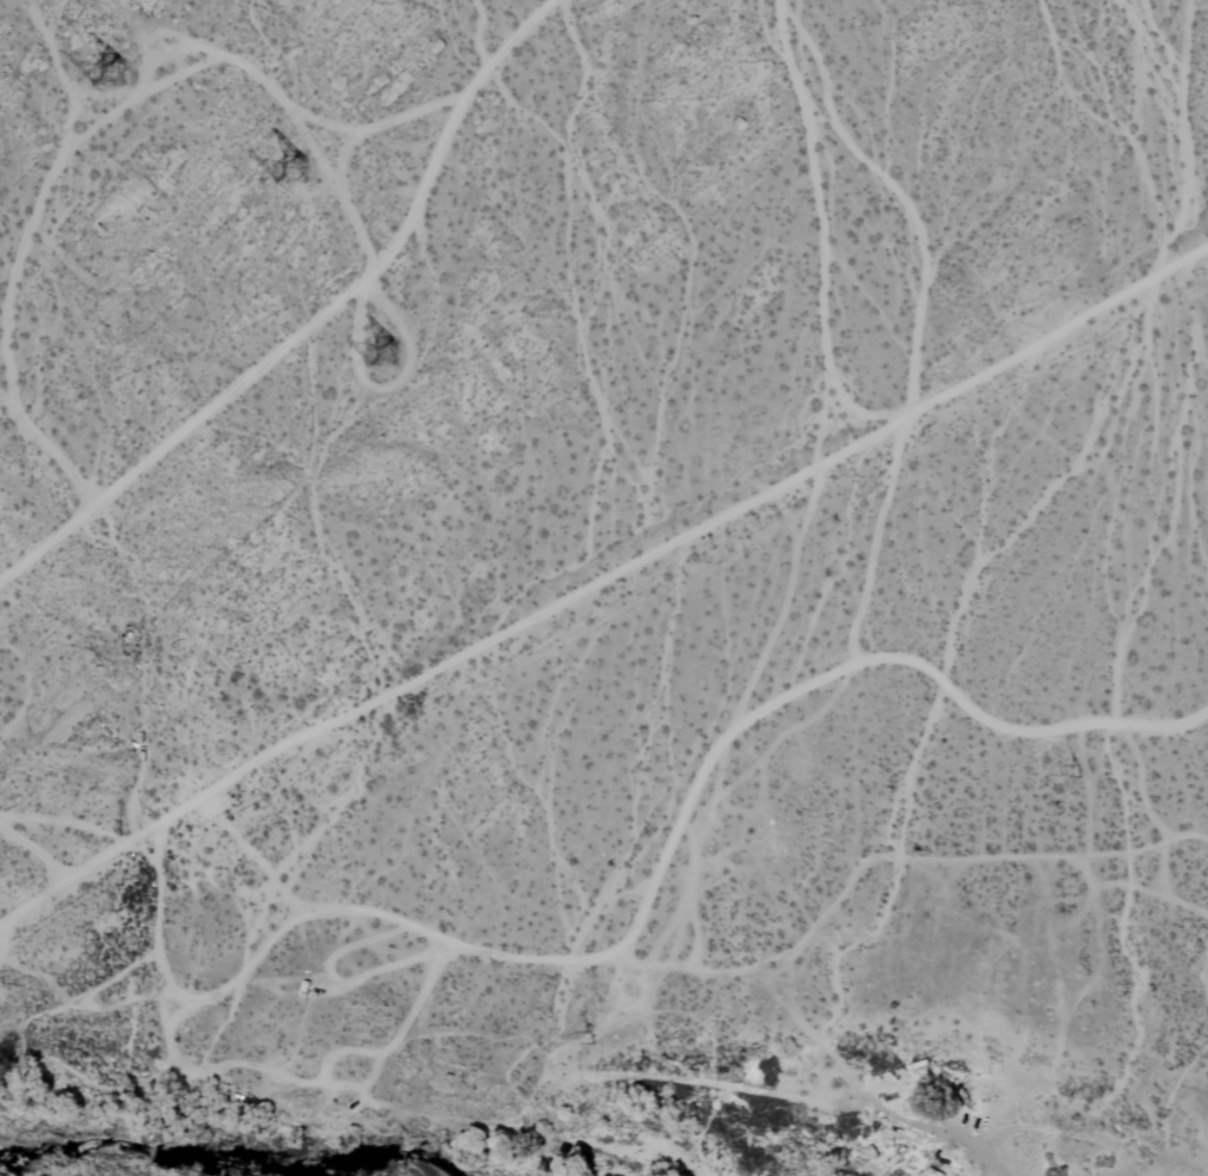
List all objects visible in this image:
power tower: (127, 64)
power tower: (308, 166)
road: (314, 322)
power tower: (388, 355)
road: (598, 581)
power tower: (1070, 769)
road: (35, 852)
power tower: (580, 1036)
river: (138, 1157)

